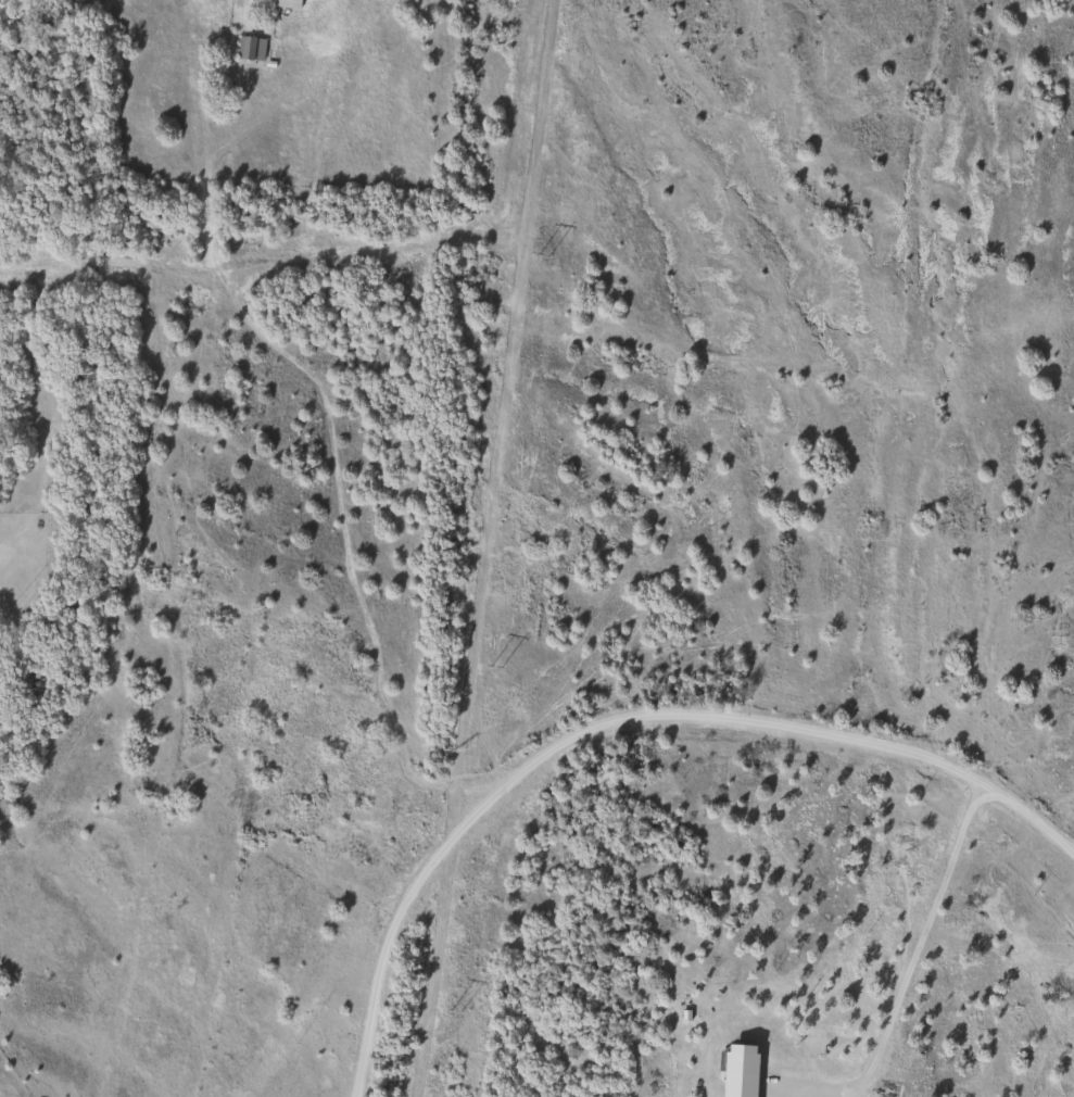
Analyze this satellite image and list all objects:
building: (283, 4)
building: (247, 49)
power tower: (543, 256)
power tower: (495, 667)
road: (617, 715)
road: (912, 955)
power tower: (456, 1010)

